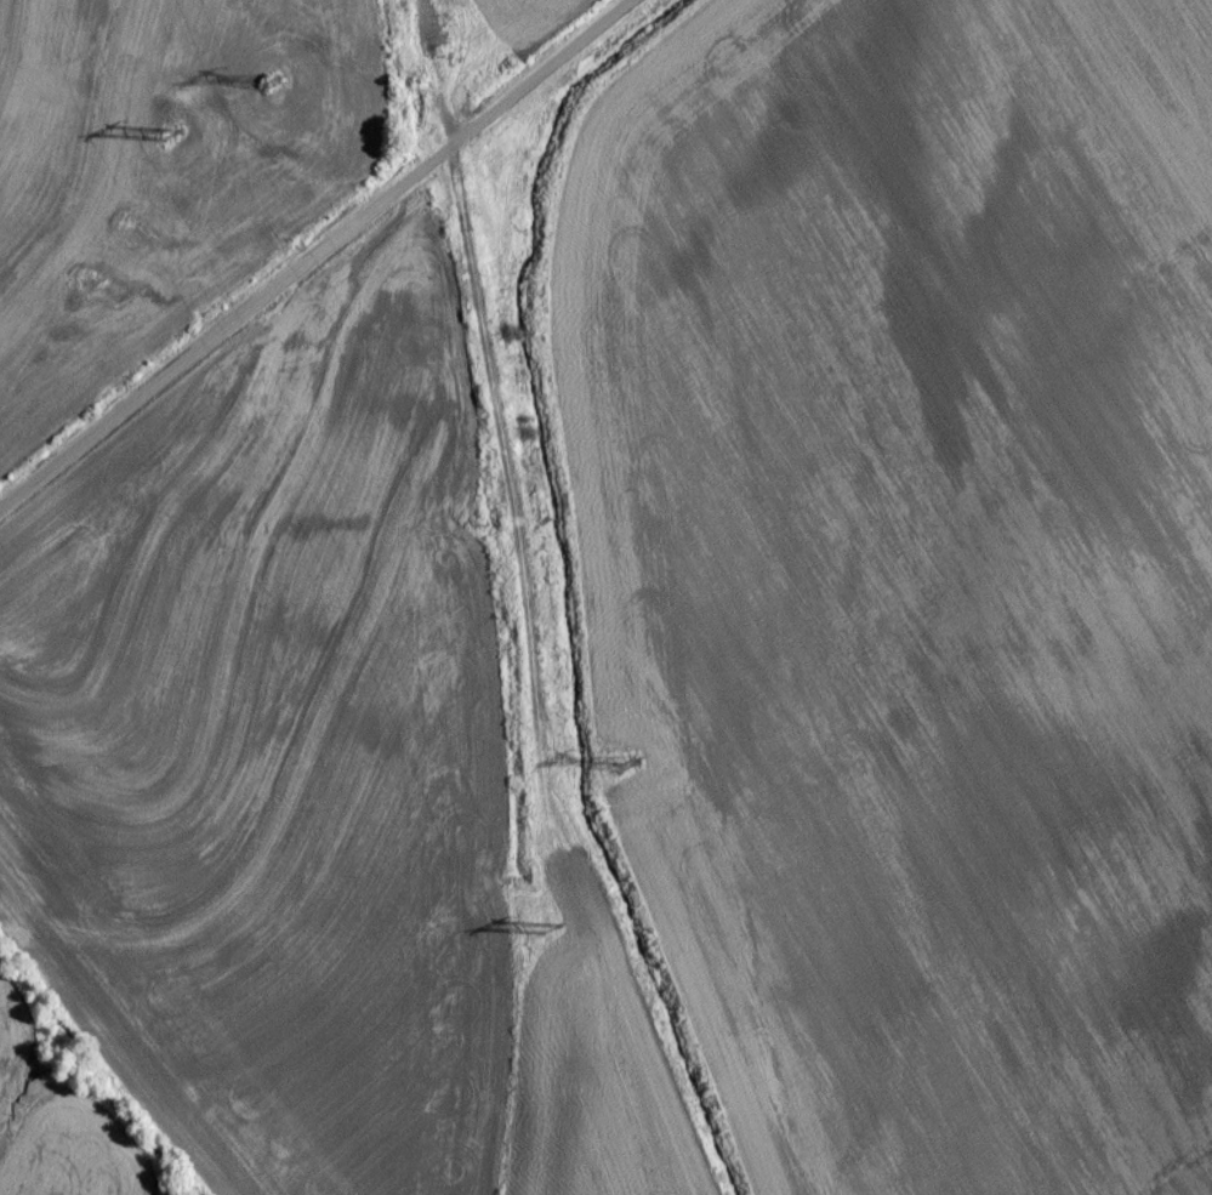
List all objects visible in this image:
power tower: (268, 91)
power tower: (164, 143)
road: (300, 238)
power tower: (619, 772)
power tower: (546, 939)

